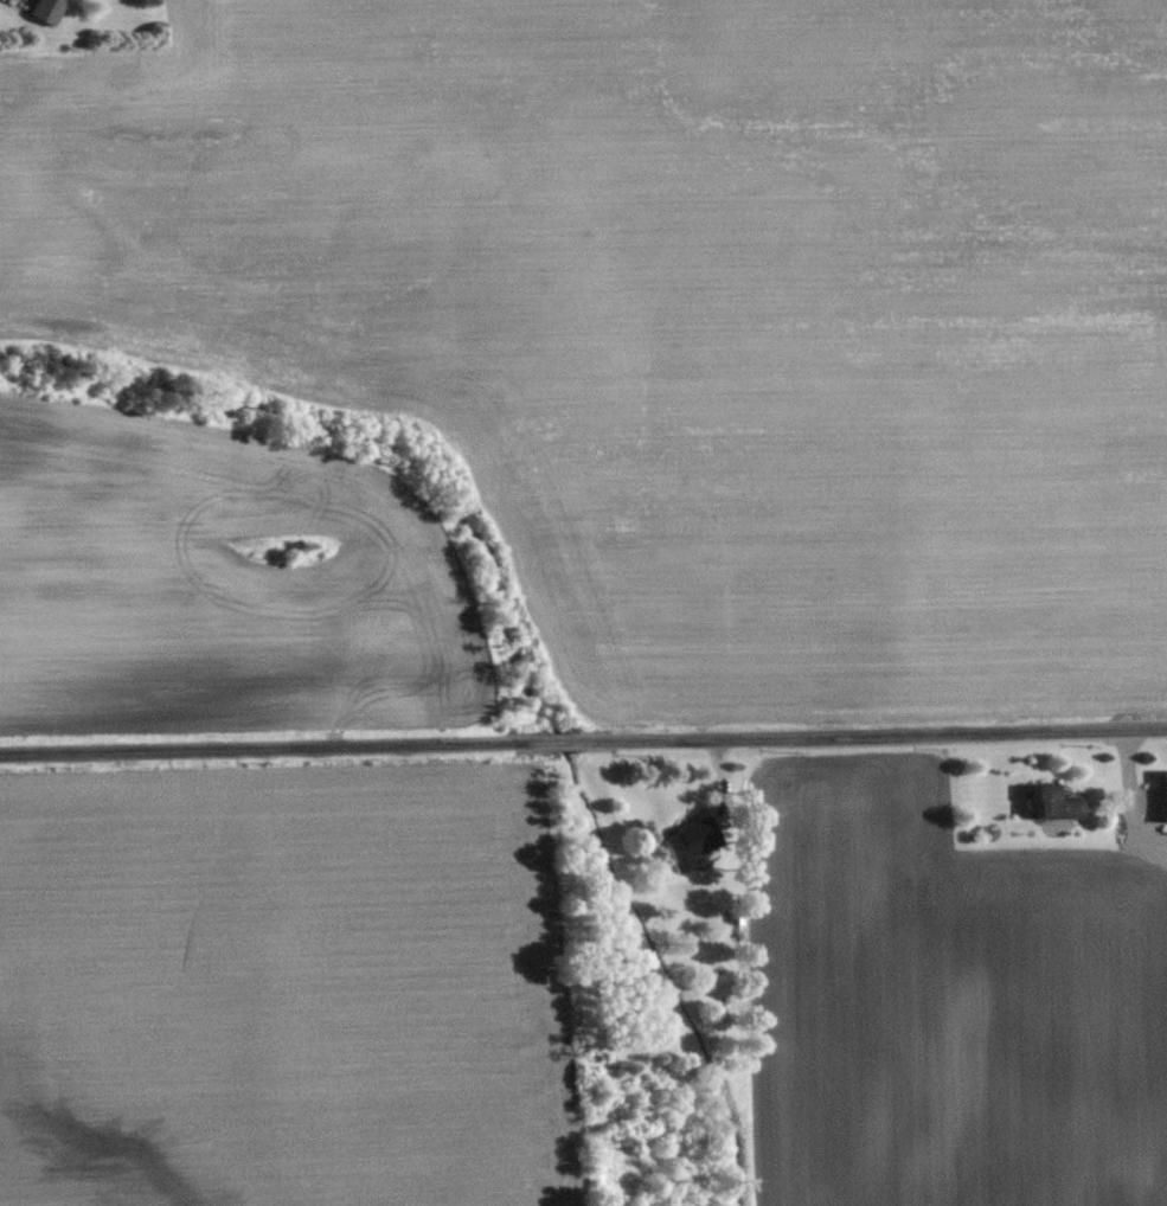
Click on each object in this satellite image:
building: (46, 9)
road: (583, 740)
road: (1143, 794)
building: (1165, 794)
building: (1053, 801)
building: (690, 841)

